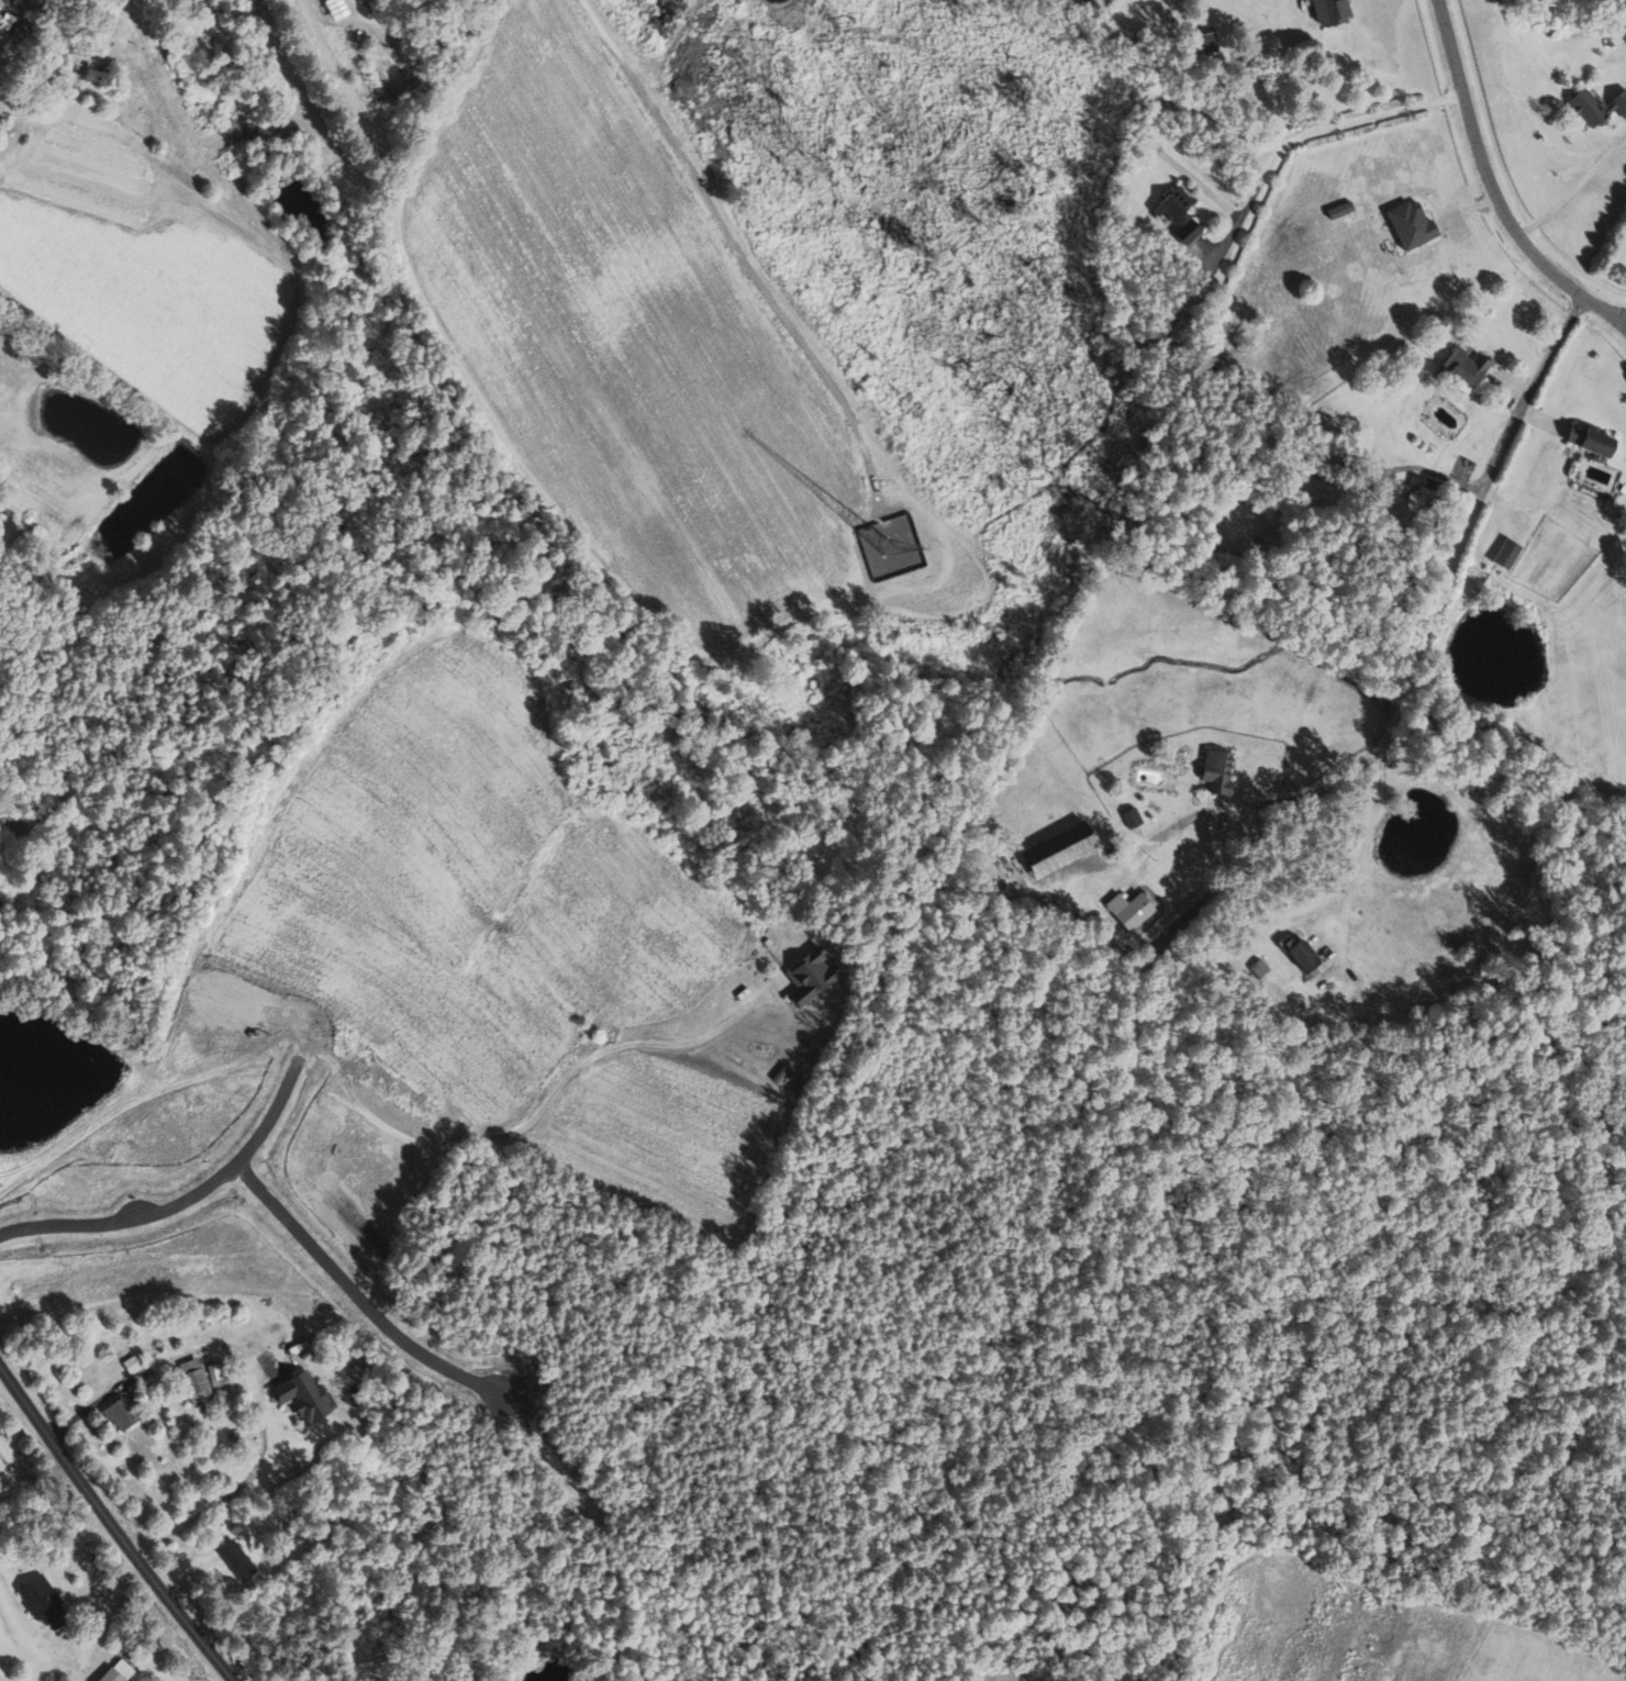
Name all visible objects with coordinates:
building: (24, 0)
building: (1302, 0)
road: (365, 7)
building: (1328, 11)
building: (1207, 42)
road: (74, 99)
building: (1595, 105)
road: (1151, 121)
road: (1305, 131)
road: (1490, 189)
road: (1572, 189)
building: (1172, 203)
building: (1408, 222)
building: (1187, 231)
building: (1463, 367)
building: (1589, 442)
building: (1504, 554)
road: (1407, 682)
building: (1215, 770)
building: (1129, 816)
road: (1369, 833)
building: (1056, 849)
building: (1131, 909)
building: (1300, 956)
building: (1259, 968)
building: (810, 977)
road: (391, 1128)
building: (130, 1363)
building: (214, 1373)
road: (247, 1376)
building: (193, 1379)
building: (299, 1395)
building: (119, 1413)
building: (1, 1473)
road: (112, 1528)
building: (235, 1558)
building: (41, 1600)
building: (116, 1671)

